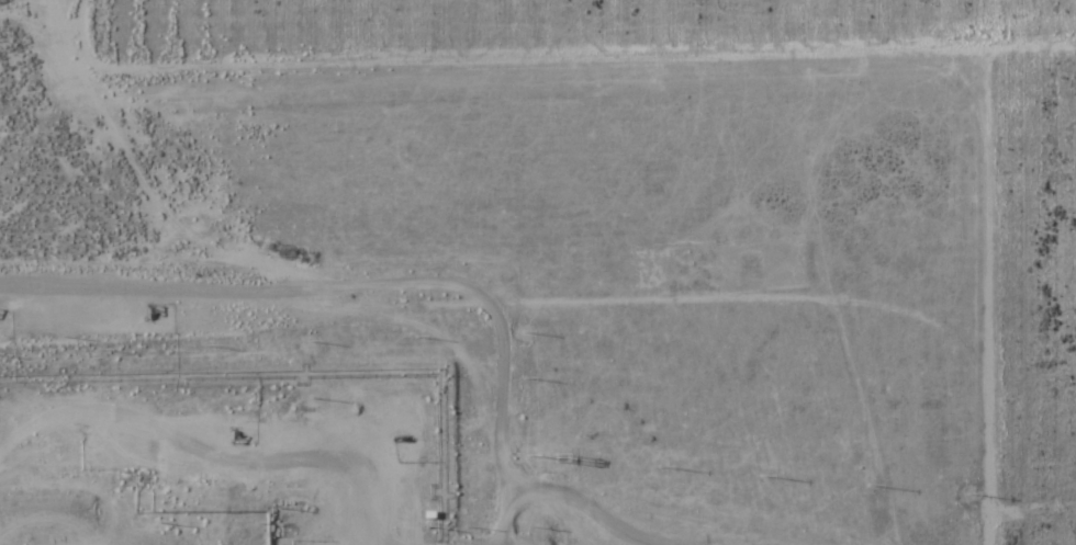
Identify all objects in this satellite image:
road: (243, 272)

